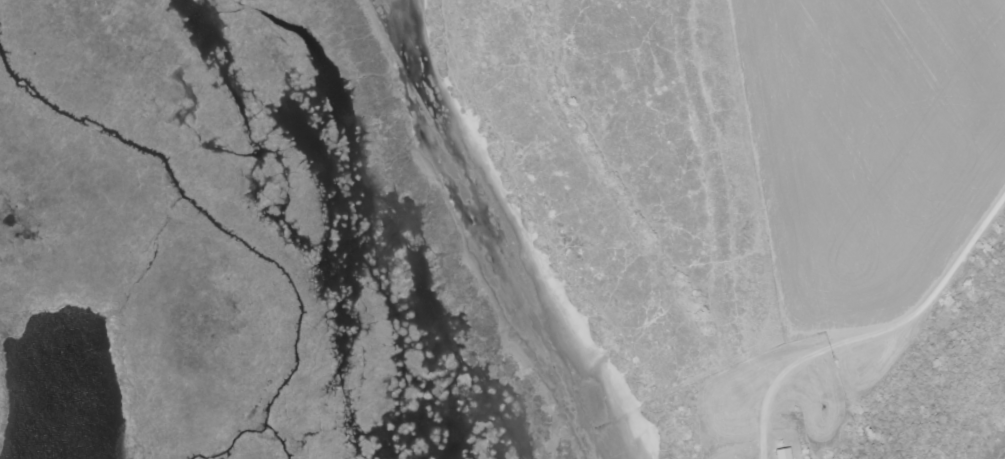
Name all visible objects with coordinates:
road: (869, 328)

